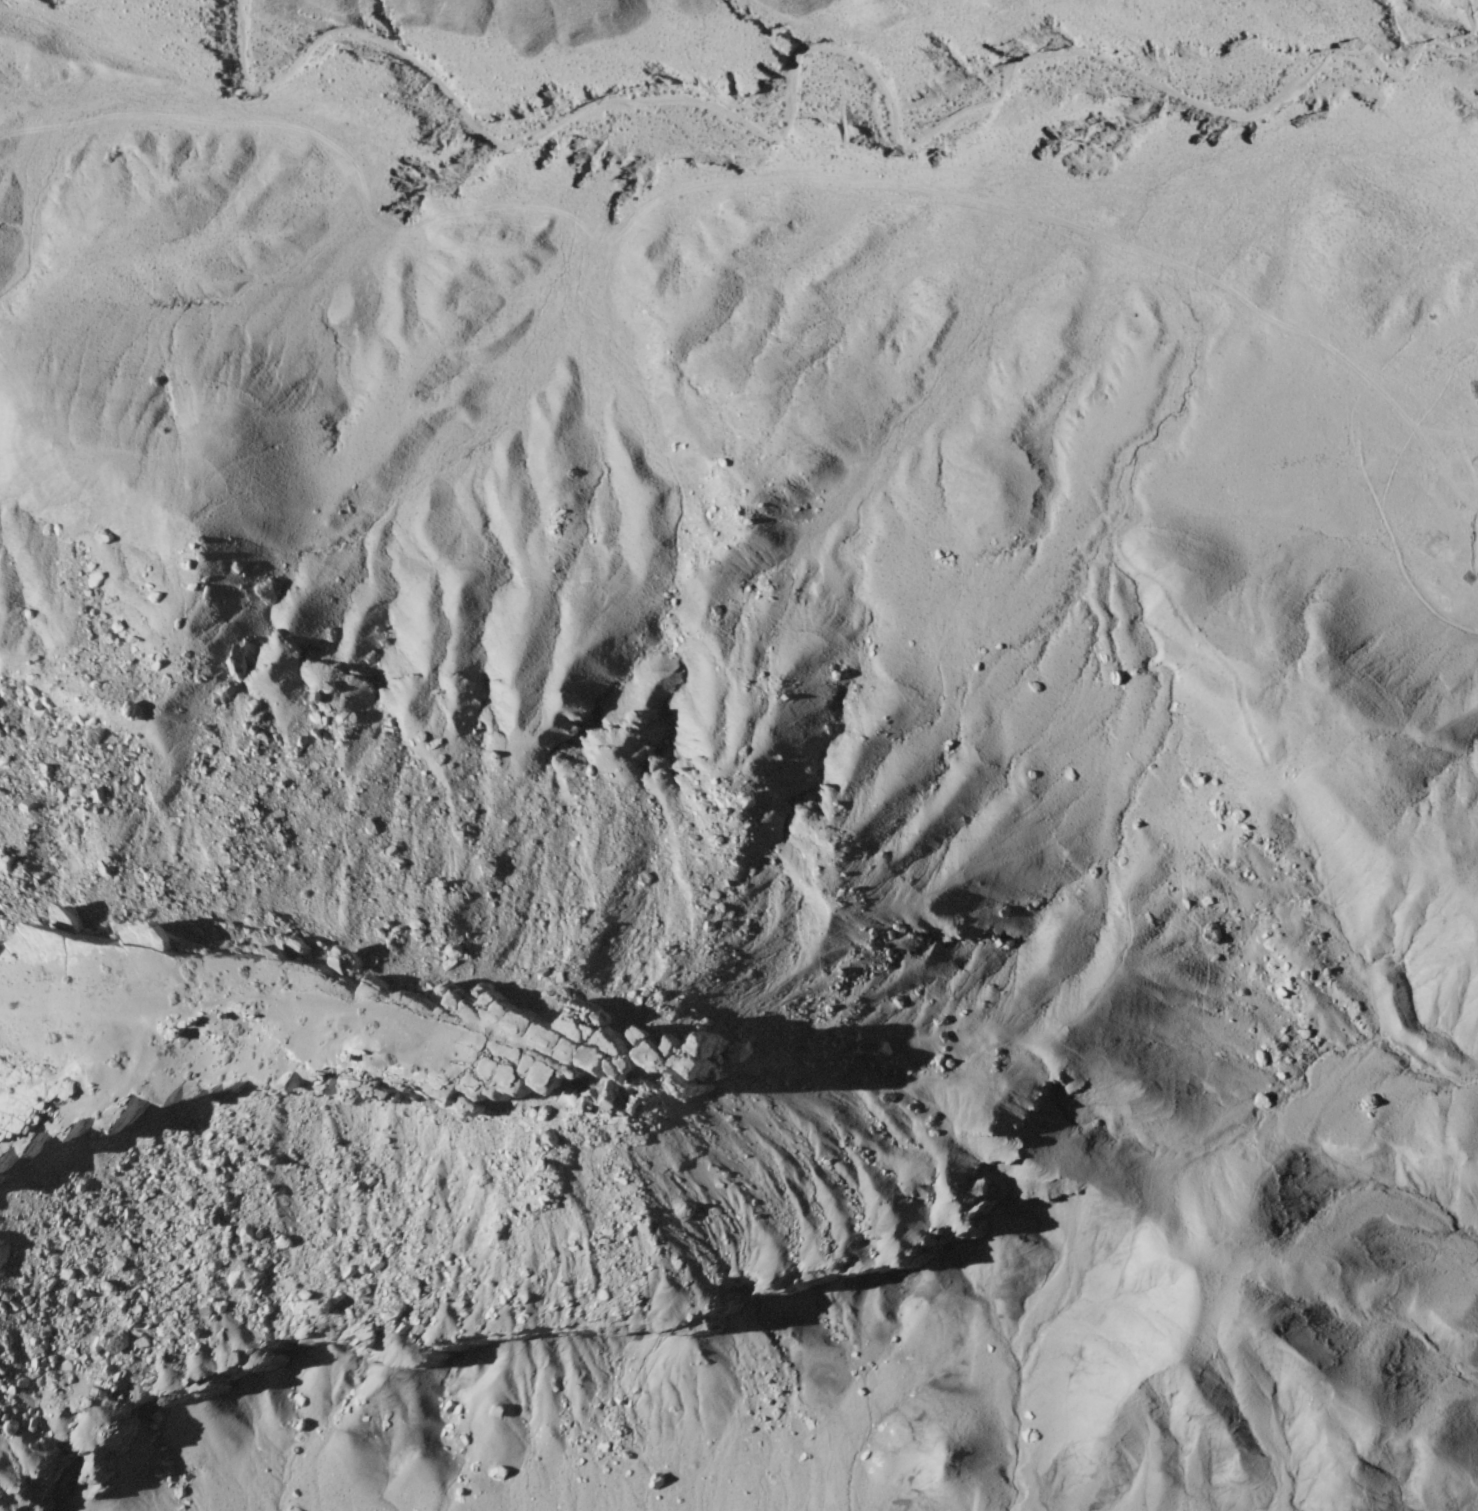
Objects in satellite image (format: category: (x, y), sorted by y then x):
building: (1438, 543)

